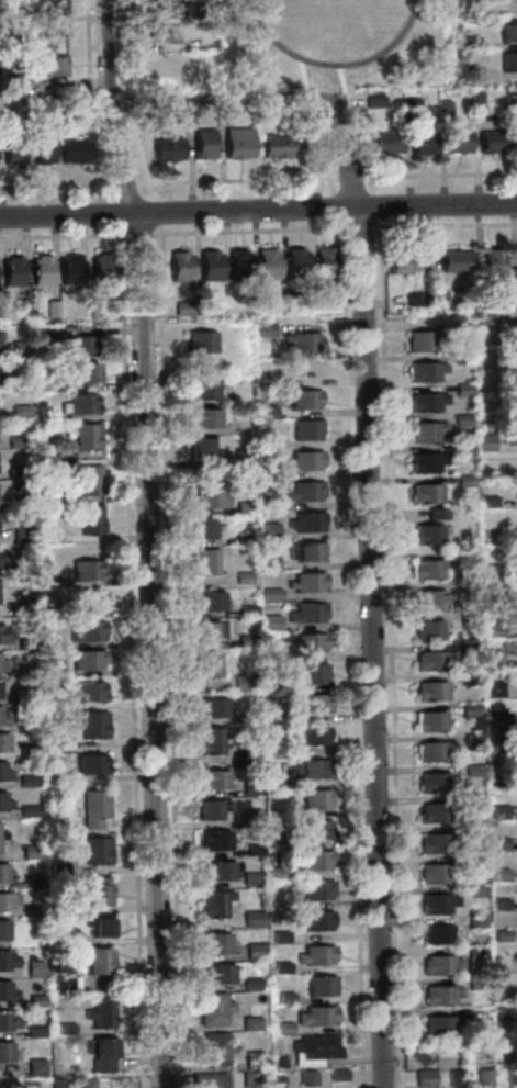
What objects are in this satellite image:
building: (156, 4)
building: (506, 4)
building: (52, 7)
building: (189, 8)
building: (18, 14)
building: (507, 31)
building: (159, 32)
building: (465, 42)
park: (333, 43)
building: (507, 61)
building: (46, 63)
building: (470, 74)
building: (15, 80)
road: (89, 100)
building: (261, 100)
road: (128, 101)
building: (374, 101)
building: (475, 101)
building: (510, 102)
building: (409, 108)
building: (441, 108)
building: (3, 115)
building: (456, 141)
building: (235, 142)
building: (384, 142)
building: (420, 142)
building: (490, 142)
building: (200, 144)
road: (318, 145)
road: (357, 145)
building: (272, 146)
building: (164, 147)
building: (42, 148)
building: (11, 149)
building: (72, 152)
road: (439, 177)
road: (349, 180)
road: (238, 182)
road: (127, 187)
road: (56, 188)
road: (374, 207)
road: (336, 209)
road: (258, 211)
road: (114, 213)
road: (153, 215)
road: (445, 227)
road: (359, 229)
road: (249, 233)
road: (138, 236)
road: (61, 238)
building: (452, 260)
building: (293, 262)
building: (323, 262)
building: (401, 262)
building: (235, 263)
building: (265, 263)
building: (206, 265)
building: (490, 265)
building: (177, 267)
building: (68, 268)
building: (101, 268)
building: (11, 270)
building: (40, 270)
building: (513, 283)
building: (436, 298)
building: (481, 298)
building: (413, 299)
building: (286, 301)
building: (318, 302)
building: (257, 304)
building: (22, 307)
building: (50, 307)
building: (181, 307)
building: (484, 321)
building: (514, 328)
building: (262, 330)
building: (44, 335)
building: (479, 339)
building: (0, 340)
building: (419, 340)
building: (200, 341)
building: (300, 341)
building: (77, 345)
building: (19, 349)
building: (480, 349)
building: (514, 355)
building: (460, 358)
building: (299, 368)
building: (423, 371)
building: (85, 373)
building: (10, 382)
building: (265, 382)
building: (43, 384)
building: (461, 389)
building: (203, 390)
building: (303, 399)
building: (424, 401)
building: (79, 404)
building: (514, 407)
building: (20, 411)
building: (266, 412)
building: (45, 415)
building: (203, 417)
building: (461, 419)
building: (305, 430)
building: (424, 431)
building: (85, 436)
building: (513, 437)
building: (14, 441)
building: (267, 441)
building: (484, 442)
building: (200, 447)
building: (461, 450)
building: (60, 456)
building: (240, 456)
building: (304, 460)
building: (424, 462)
building: (15, 472)
building: (268, 472)
building: (89, 480)
building: (464, 481)
building: (515, 487)
building: (303, 491)
building: (424, 493)
building: (46, 494)
building: (207, 500)
building: (486, 501)
building: (266, 503)
building: (244, 508)
building: (436, 514)
building: (90, 519)
building: (305, 521)
building: (200, 529)
building: (267, 530)
building: (21, 534)
building: (426, 534)
building: (49, 537)
building: (244, 539)
road: (146, 541)
building: (304, 552)
building: (458, 556)
building: (2, 557)
building: (268, 560)
building: (203, 562)
building: (488, 569)
building: (86, 570)
building: (426, 570)
building: (243, 577)
building: (48, 582)
building: (305, 582)
building: (467, 586)
road: (369, 588)
building: (270, 594)
building: (427, 599)
building: (91, 601)
building: (207, 602)
building: (24, 607)
building: (245, 610)
building: (48, 613)
building: (306, 613)
building: (515, 613)
building: (467, 617)
building: (269, 622)
building: (427, 629)
building: (492, 630)
building: (86, 631)
building: (202, 631)
building: (1, 635)
building: (245, 640)
building: (50, 642)
building: (23, 643)
building: (307, 643)
building: (468, 648)
road: (351, 654)
road: (390, 654)
building: (491, 657)
road: (168, 658)
road: (130, 659)
building: (86, 660)
building: (3, 661)
building: (430, 661)
building: (205, 664)
building: (52, 669)
building: (26, 671)
building: (312, 673)
building: (470, 680)
building: (243, 682)
building: (272, 683)
building: (1, 688)
building: (493, 688)
building: (430, 691)
building: (88, 692)
building: (306, 703)
building: (209, 706)
building: (469, 709)
building: (4, 715)
building: (272, 716)
building: (494, 720)
building: (429, 721)
building: (92, 725)
building: (308, 736)
building: (207, 741)
building: (470, 741)
building: (3, 742)
building: (54, 744)
building: (273, 748)
building: (494, 749)
building: (27, 750)
building: (429, 752)
building: (248, 755)
building: (89, 763)
building: (310, 769)
building: (471, 770)
building: (2, 771)
building: (213, 779)
building: (274, 779)
building: (26, 781)
building: (434, 782)
building: (250, 787)
building: (314, 799)
building: (472, 800)
building: (2, 801)
building: (93, 808)
building: (211, 809)
building: (27, 811)
building: (434, 812)
building: (497, 812)
building: (266, 815)
building: (250, 816)
building: (315, 830)
building: (2, 835)
building: (214, 840)
building: (274, 841)
building: (497, 842)
building: (434, 843)
building: (95, 850)
building: (252, 850)
building: (30, 852)
building: (315, 860)
building: (473, 861)
building: (58, 870)
building: (216, 871)
building: (277, 873)
building: (2, 874)
building: (432, 874)
building: (498, 874)
building: (250, 879)
building: (315, 889)
building: (474, 890)
building: (97, 894)
building: (3, 902)
building: (213, 902)
building: (432, 904)
building: (498, 905)
building: (57, 907)
building: (251, 919)
building: (316, 920)
building: (475, 922)
building: (98, 927)
building: (3, 931)
building: (498, 934)
building: (437, 935)
building: (279, 936)
building: (61, 939)
building: (214, 943)
building: (254, 951)
building: (475, 953)
building: (315, 955)
building: (2, 961)
building: (98, 961)
building: (437, 965)
building: (280, 967)
building: (33, 968)
building: (218, 974)
building: (61, 984)
building: (249, 984)
building: (319, 986)
building: (3, 991)
building: (439, 996)
building: (284, 998)
building: (35, 1000)
building: (213, 1009)
building: (99, 1012)
building: (315, 1017)
building: (3, 1022)
building: (250, 1023)
building: (503, 1025)
building: (440, 1027)
building: (64, 1028)
building: (283, 1028)
building: (34, 1031)
building: (315, 1046)
building: (214, 1048)
building: (4, 1052)
building: (101, 1054)
building: (503, 1056)
building: (251, 1059)
building: (34, 1066)
building: (337, 1075)
building: (512, 1076)
building: (454, 1077)
building: (305, 1078)
building: (423, 1078)
building: (482, 1078)
building: (200, 1079)
building: (220, 1080)
building: (248, 1080)
building: (276, 1081)
building: (85, 1083)
building: (26, 1084)
building: (56, 1084)
building: (0, 1085)

